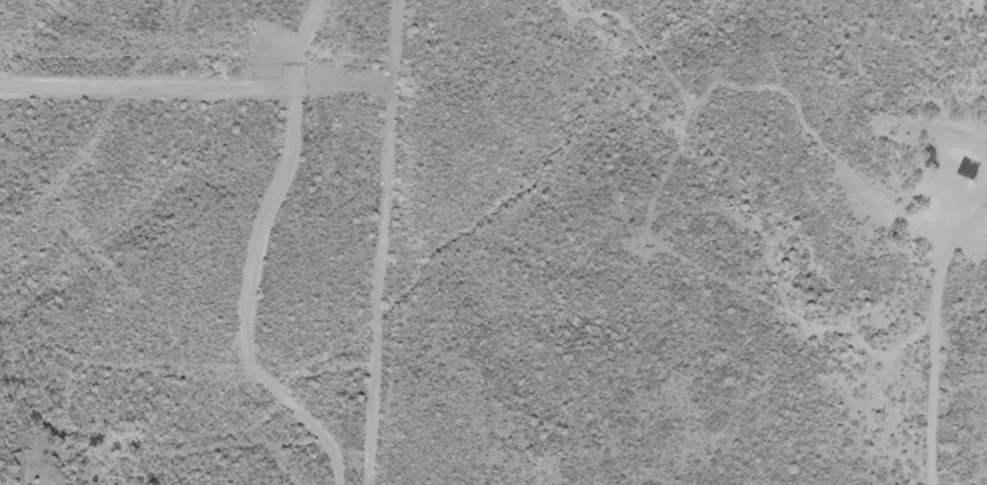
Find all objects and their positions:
road: (866, 231)
road: (272, 255)

